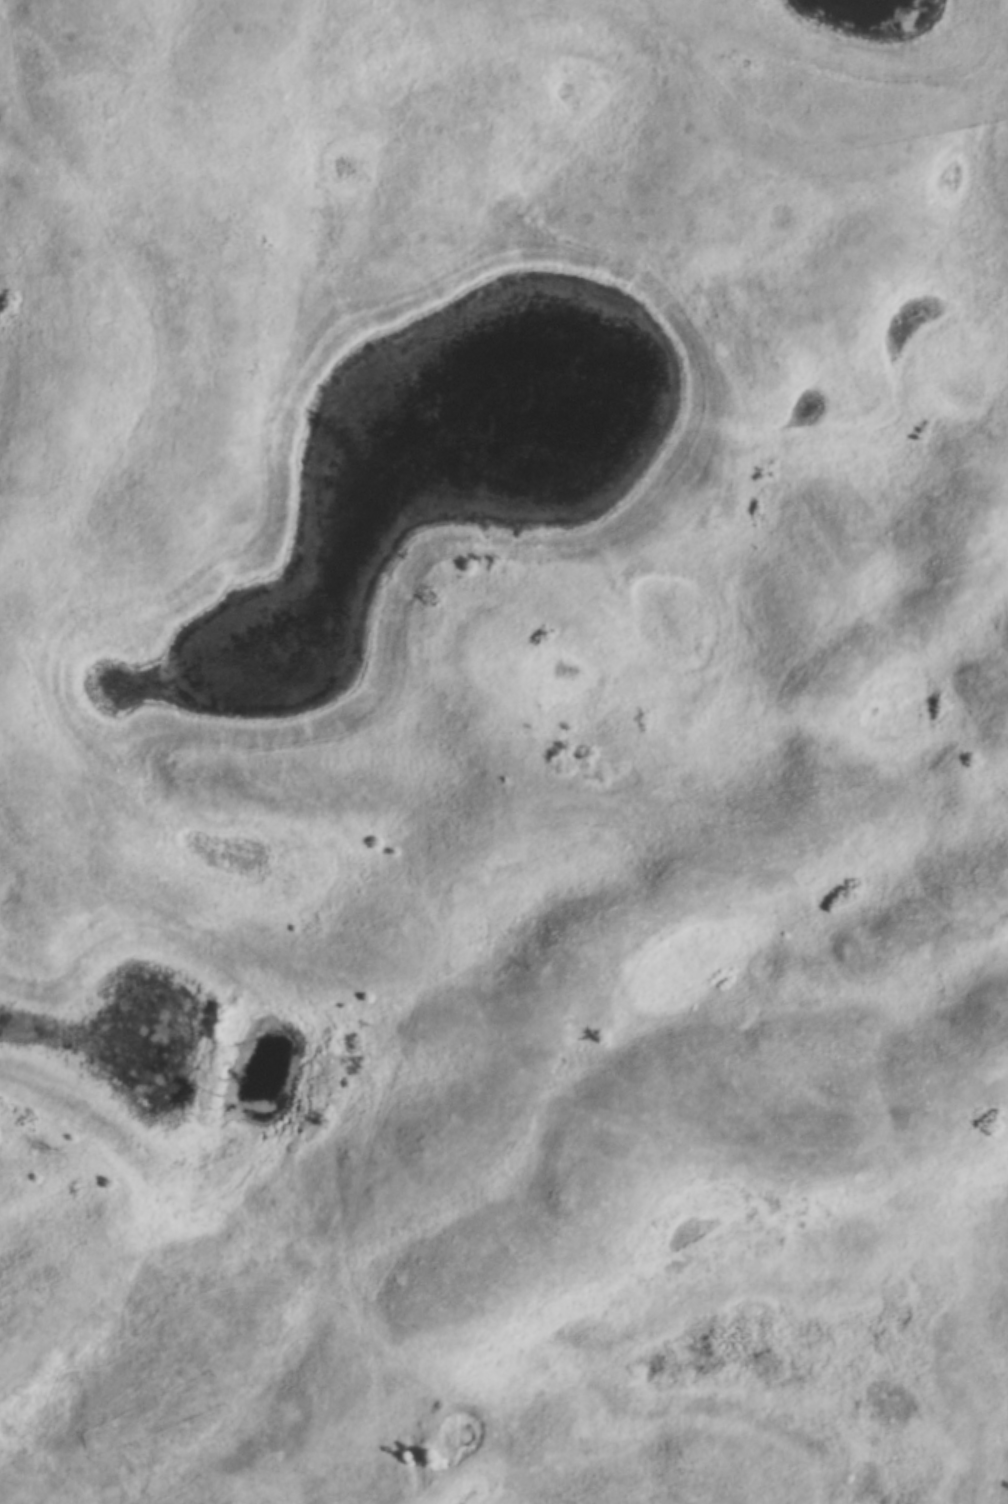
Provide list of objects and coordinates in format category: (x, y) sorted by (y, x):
road: (192, 790)

